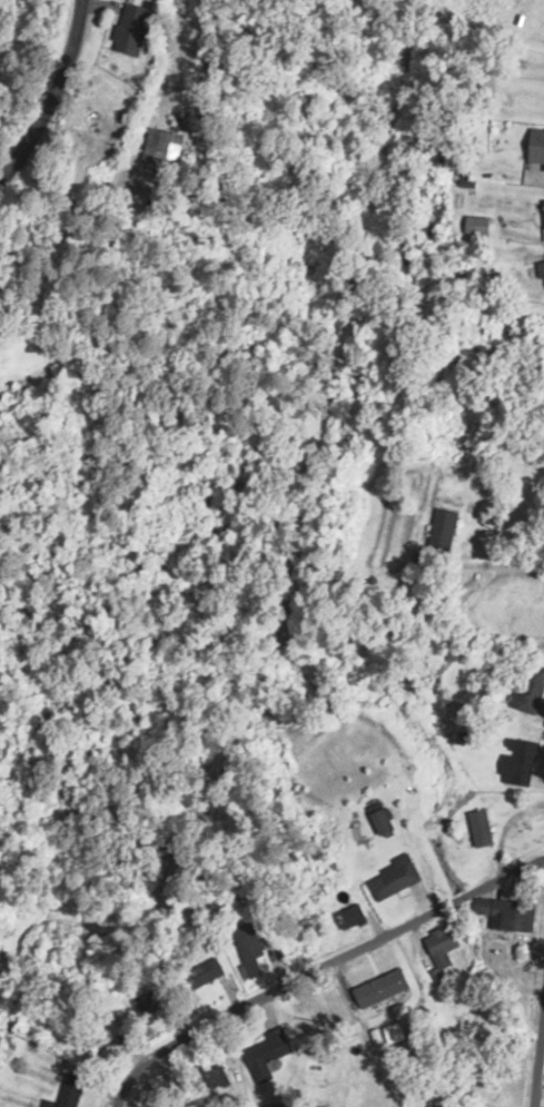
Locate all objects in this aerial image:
road: (50, 69)
building: (537, 146)
building: (160, 148)
building: (543, 171)
building: (541, 269)
building: (445, 523)
building: (532, 688)
building: (522, 761)
building: (385, 822)
building: (483, 828)
building: (397, 877)
building: (507, 913)
building: (443, 946)
building: (251, 948)
road: (316, 969)
building: (205, 972)
building: (156, 999)
building: (268, 1048)
road: (541, 1085)
building: (71, 1090)

